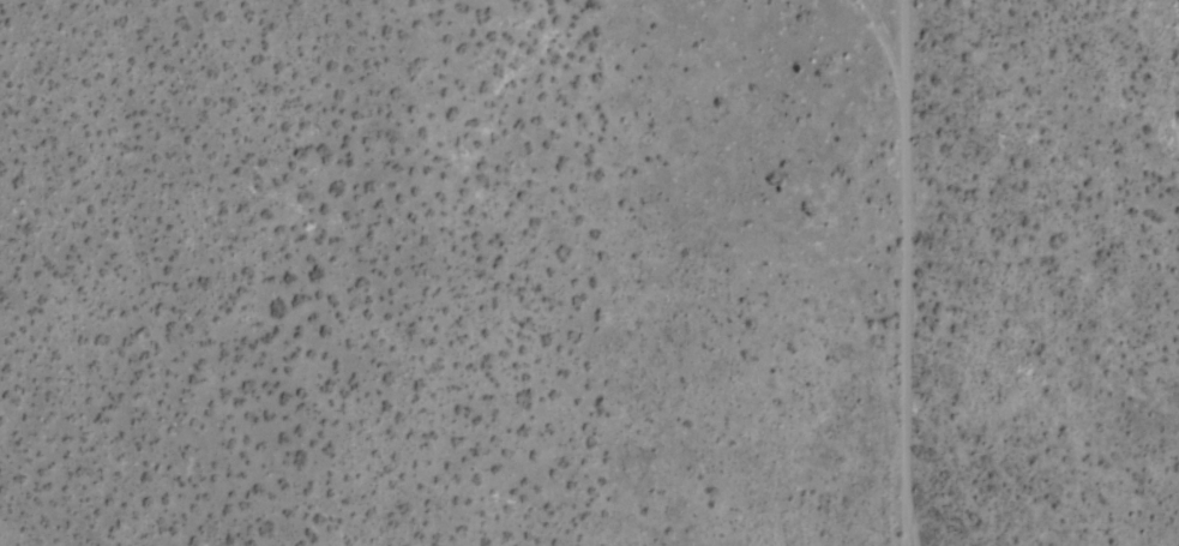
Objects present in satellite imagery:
road: (918, 272)

